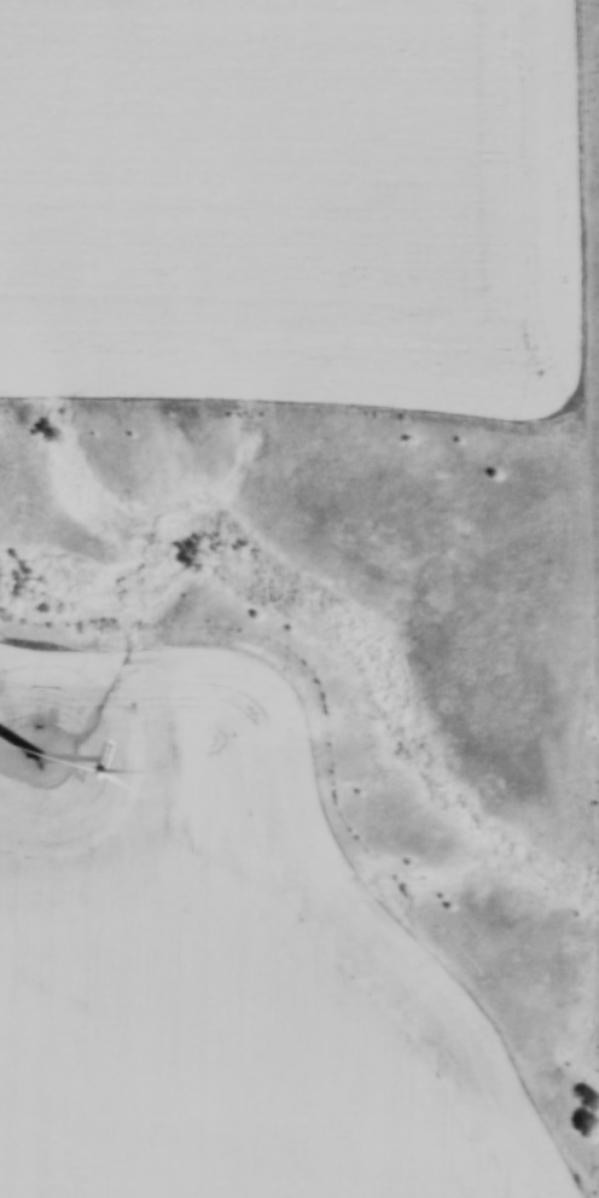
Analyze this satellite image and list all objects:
wind turbine: (46, 757)

